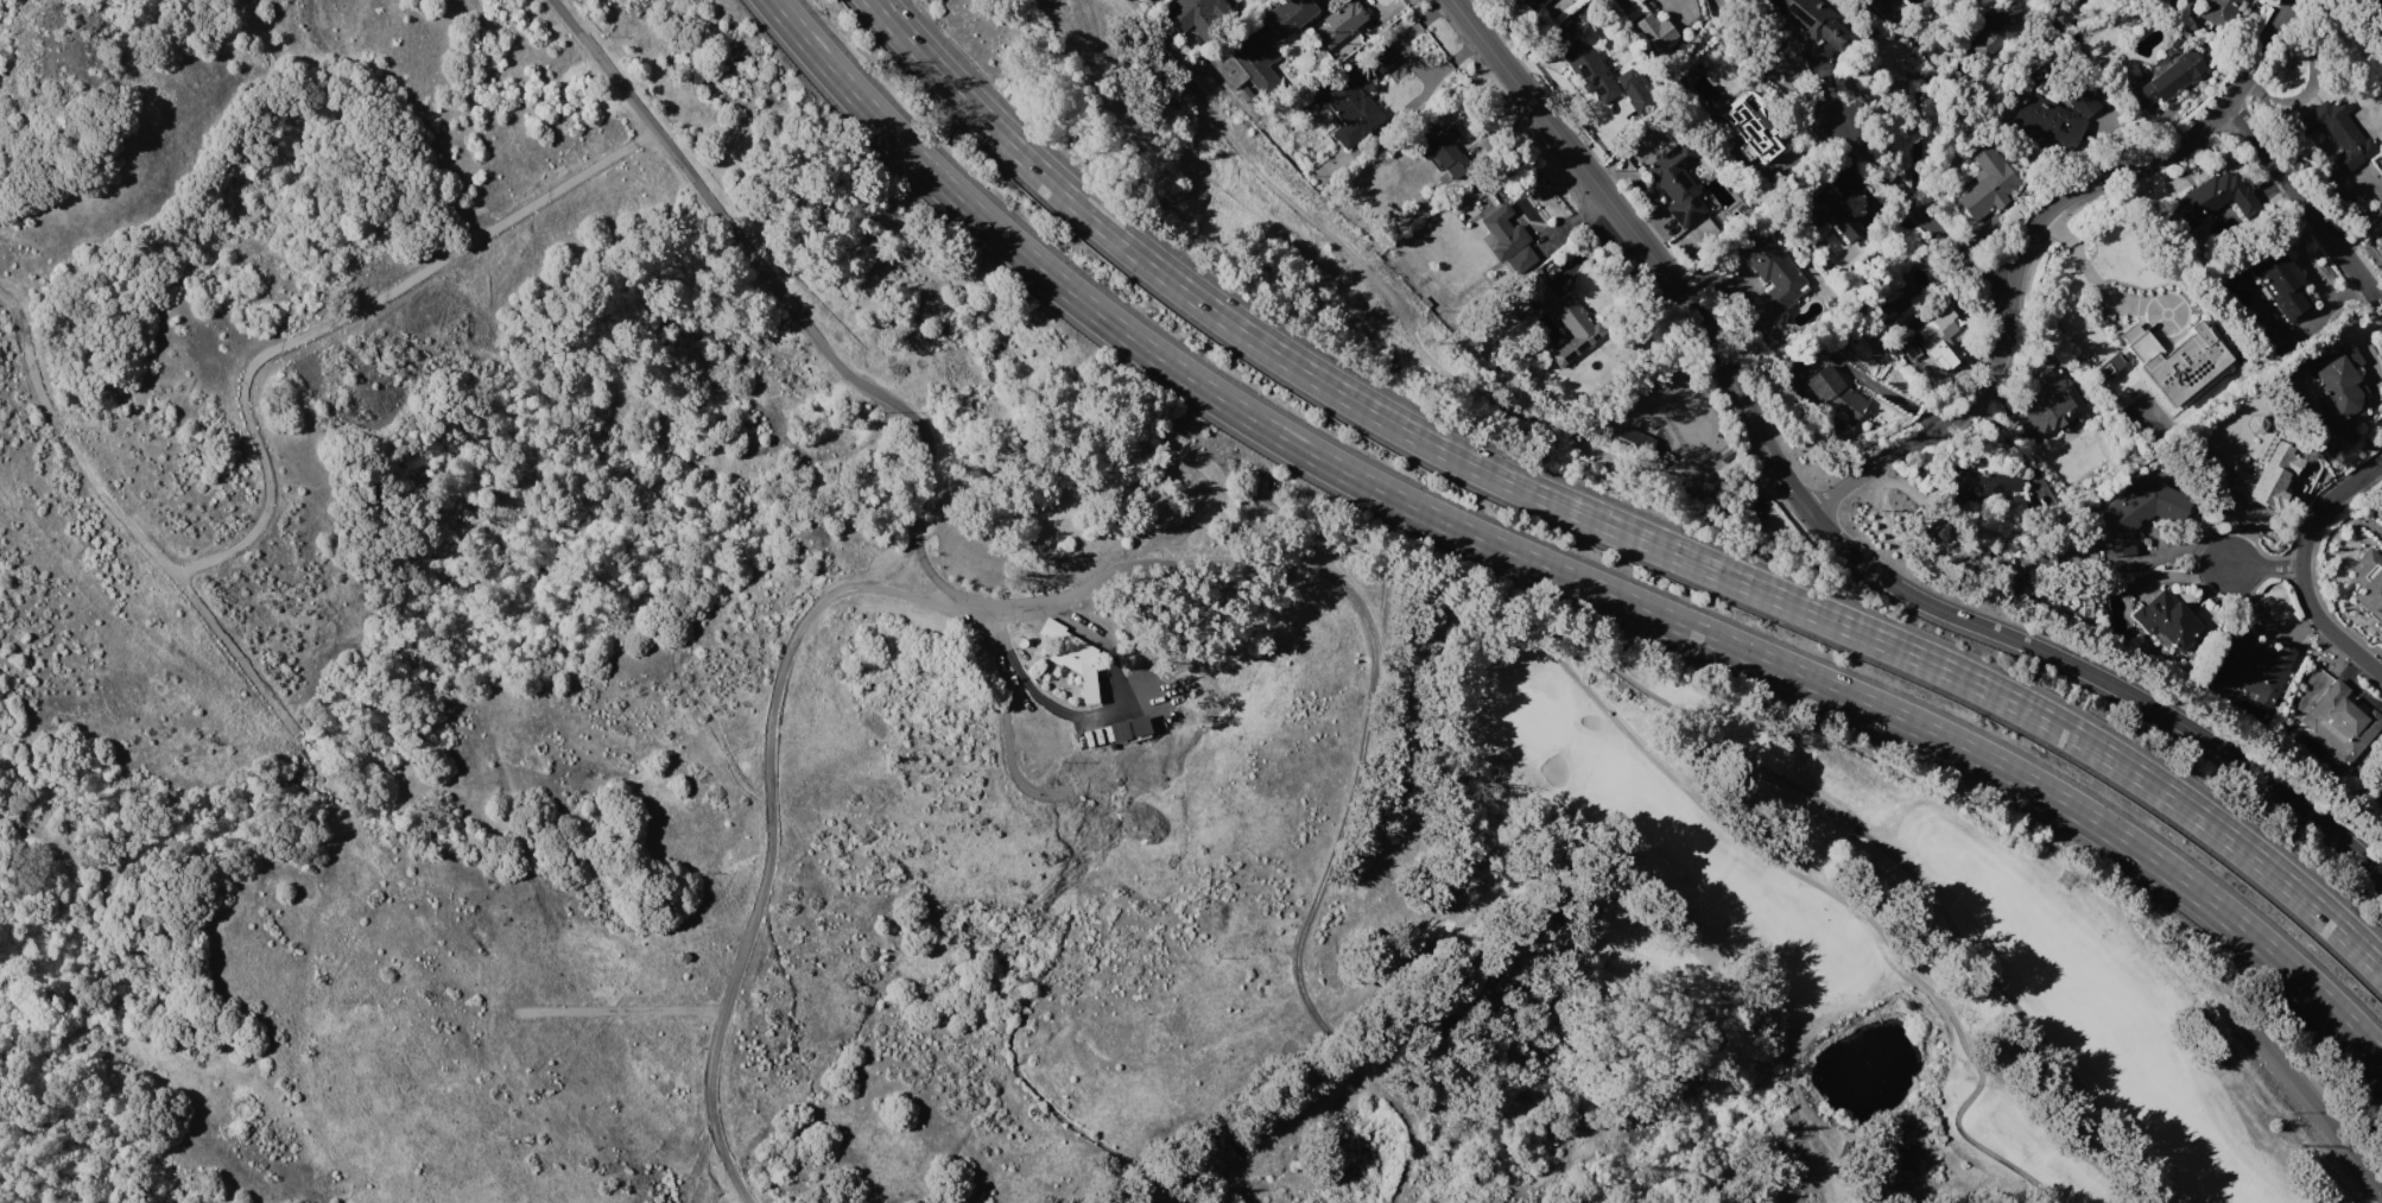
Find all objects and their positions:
building: (1636, 0)
building: (1639, 0)
building: (1534, 4)
building: (1205, 10)
building: (2221, 13)
building: (1811, 21)
building: (1996, 27)
building: (1344, 30)
building: (1654, 31)
building: (1274, 43)
building: (2175, 43)
building: (1586, 62)
building: (2168, 78)
building: (1632, 90)
building: (1356, 96)
building: (2053, 119)
building: (1750, 125)
building: (2336, 133)
building: (1440, 146)
building: (1677, 183)
building: (1987, 184)
building: (2217, 198)
road: (2304, 207)
building: (1832, 213)
road: (1915, 215)
building: (1504, 235)
road: (2025, 242)
road: (1641, 246)
building: (1518, 259)
building: (1769, 277)
road: (2093, 280)
building: (2281, 284)
road: (799, 312)
road: (337, 317)
building: (1564, 323)
building: (1939, 338)
power tower: (1423, 342)
building: (2172, 361)
building: (2109, 363)
building: (2339, 388)
building: (1843, 400)
building: (2050, 406)
building: (1633, 438)
building: (1655, 448)
building: (2267, 477)
building: (1981, 480)
road: (2325, 502)
building: (2137, 514)
road: (1602, 521)
road: (127, 524)
road: (2262, 566)
road: (1550, 569)
road: (1102, 582)
building: (2368, 583)
road: (908, 585)
building: (2166, 619)
road: (2330, 627)
building: (1070, 654)
building: (2251, 666)
road: (2098, 678)
road: (1119, 703)
park: (1535, 718)
building: (2339, 723)
building: (1136, 726)
building: (1116, 732)
road: (1007, 736)
power tower: (1797, 739)
road: (1741, 758)
road: (1336, 819)
road: (769, 850)
power tower: (2063, 879)
park: (1871, 944)
building: (683, 956)
road: (623, 1008)
road: (1984, 1069)
road: (2314, 1114)
power tower: (2282, 1145)

